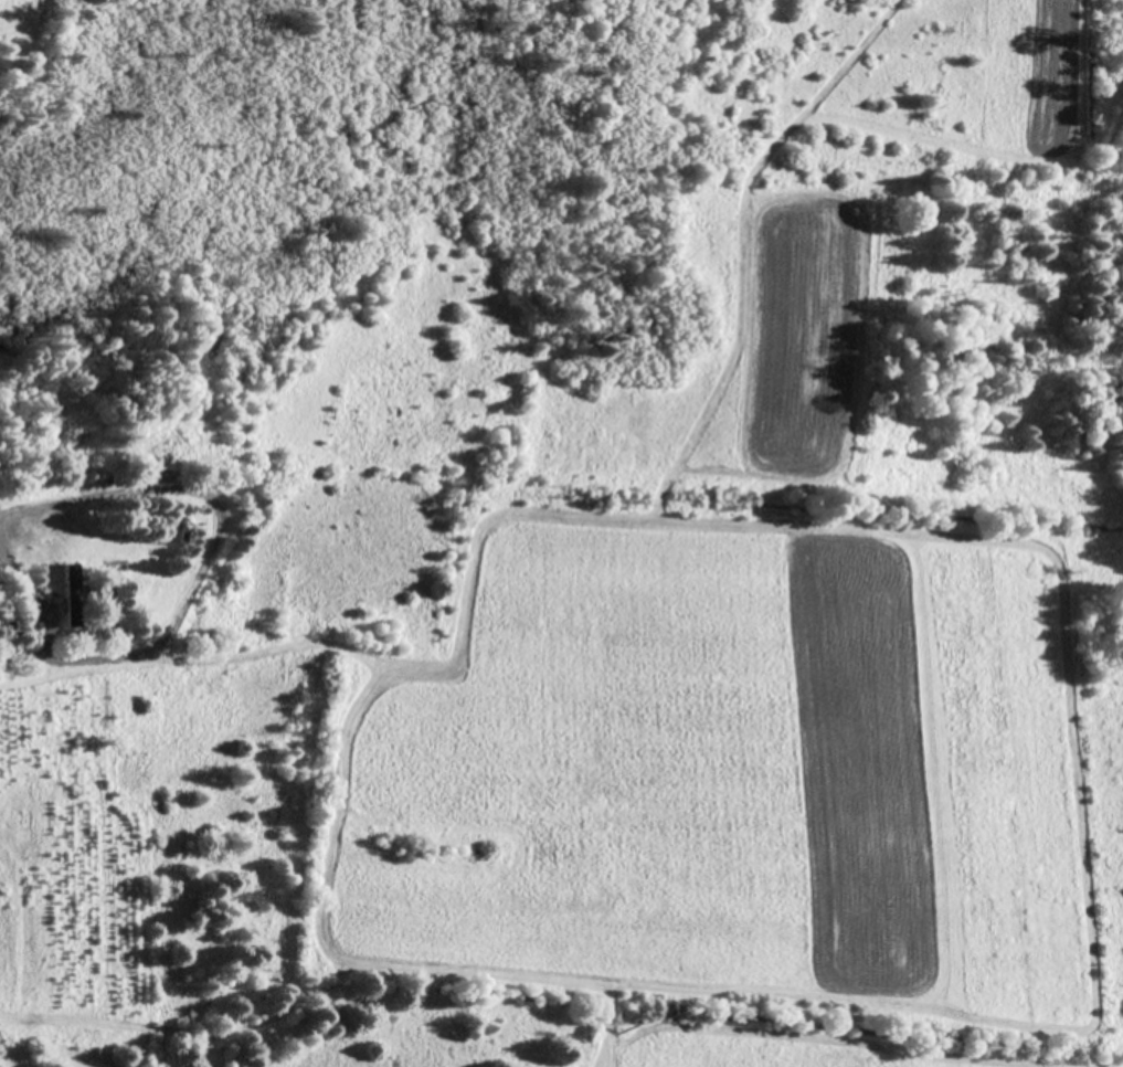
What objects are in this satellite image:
road: (95, 214)
building: (74, 593)

